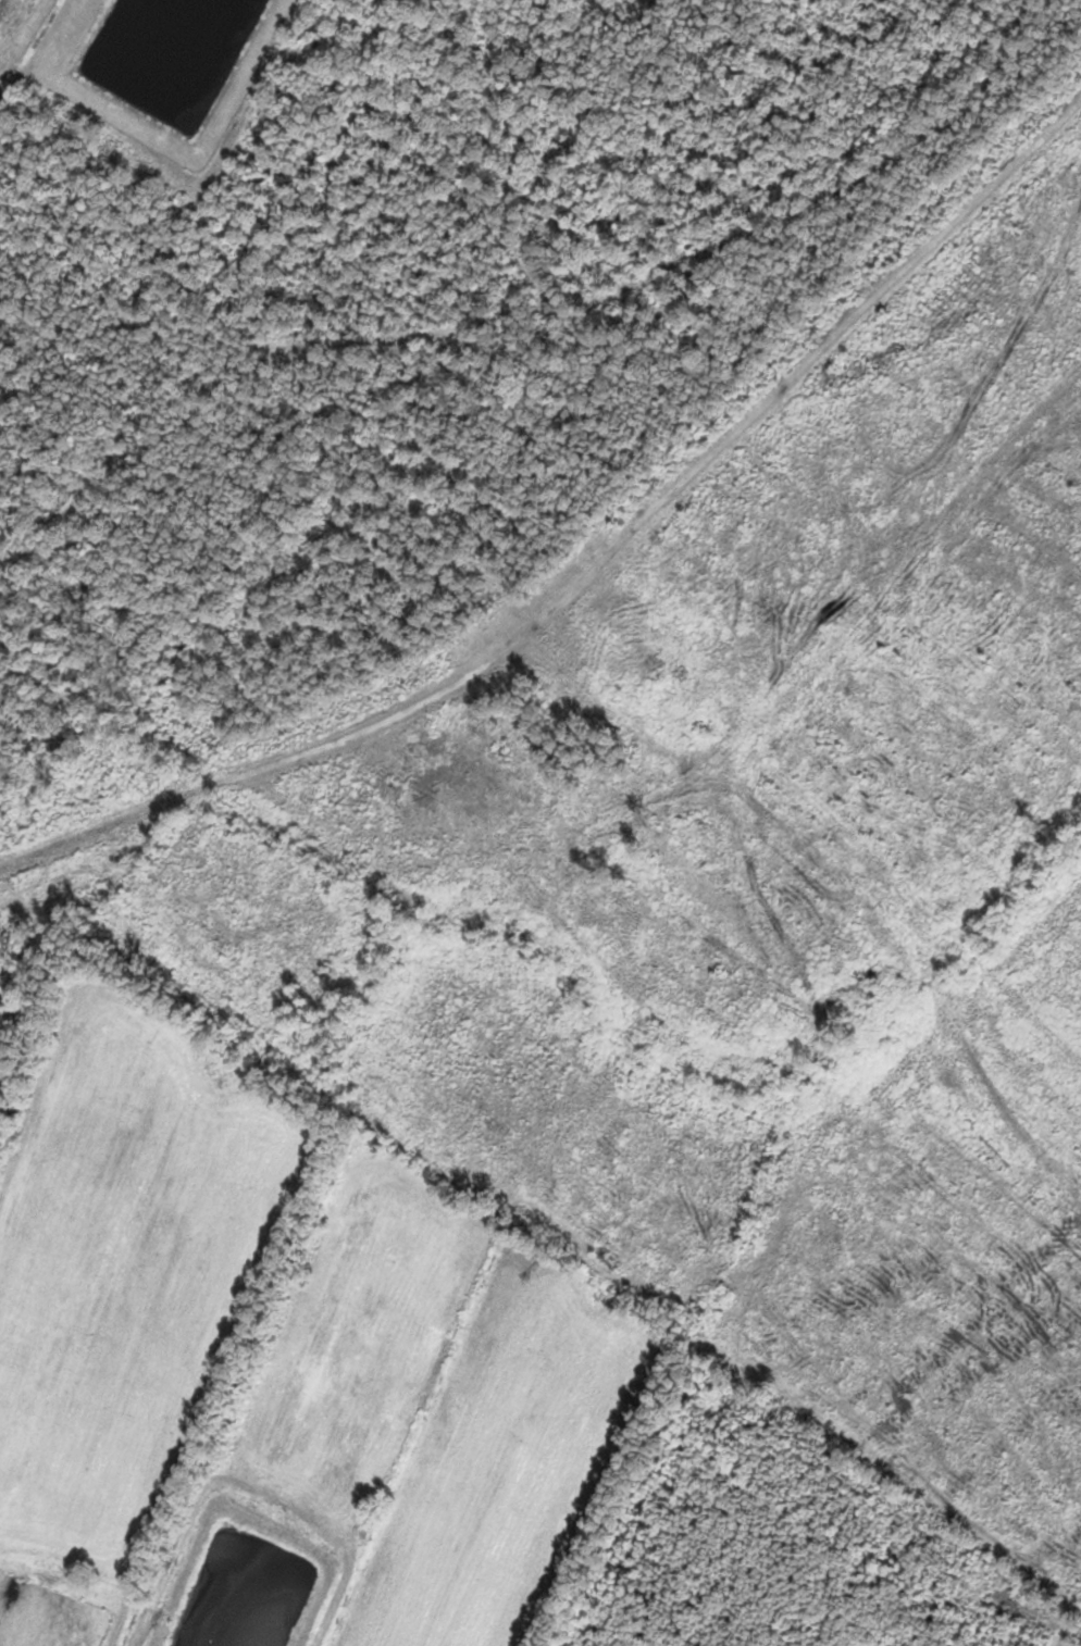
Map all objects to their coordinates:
road: (597, 541)

